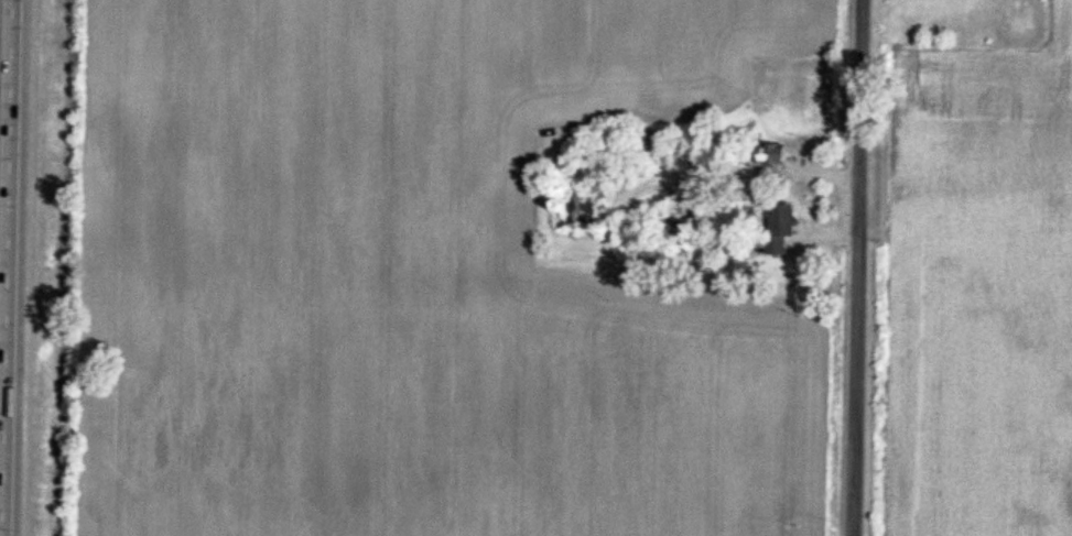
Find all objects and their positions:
building: (762, 155)
building: (739, 197)
building: (580, 200)
building: (780, 228)
building: (678, 231)
road: (11, 267)
road: (856, 267)

